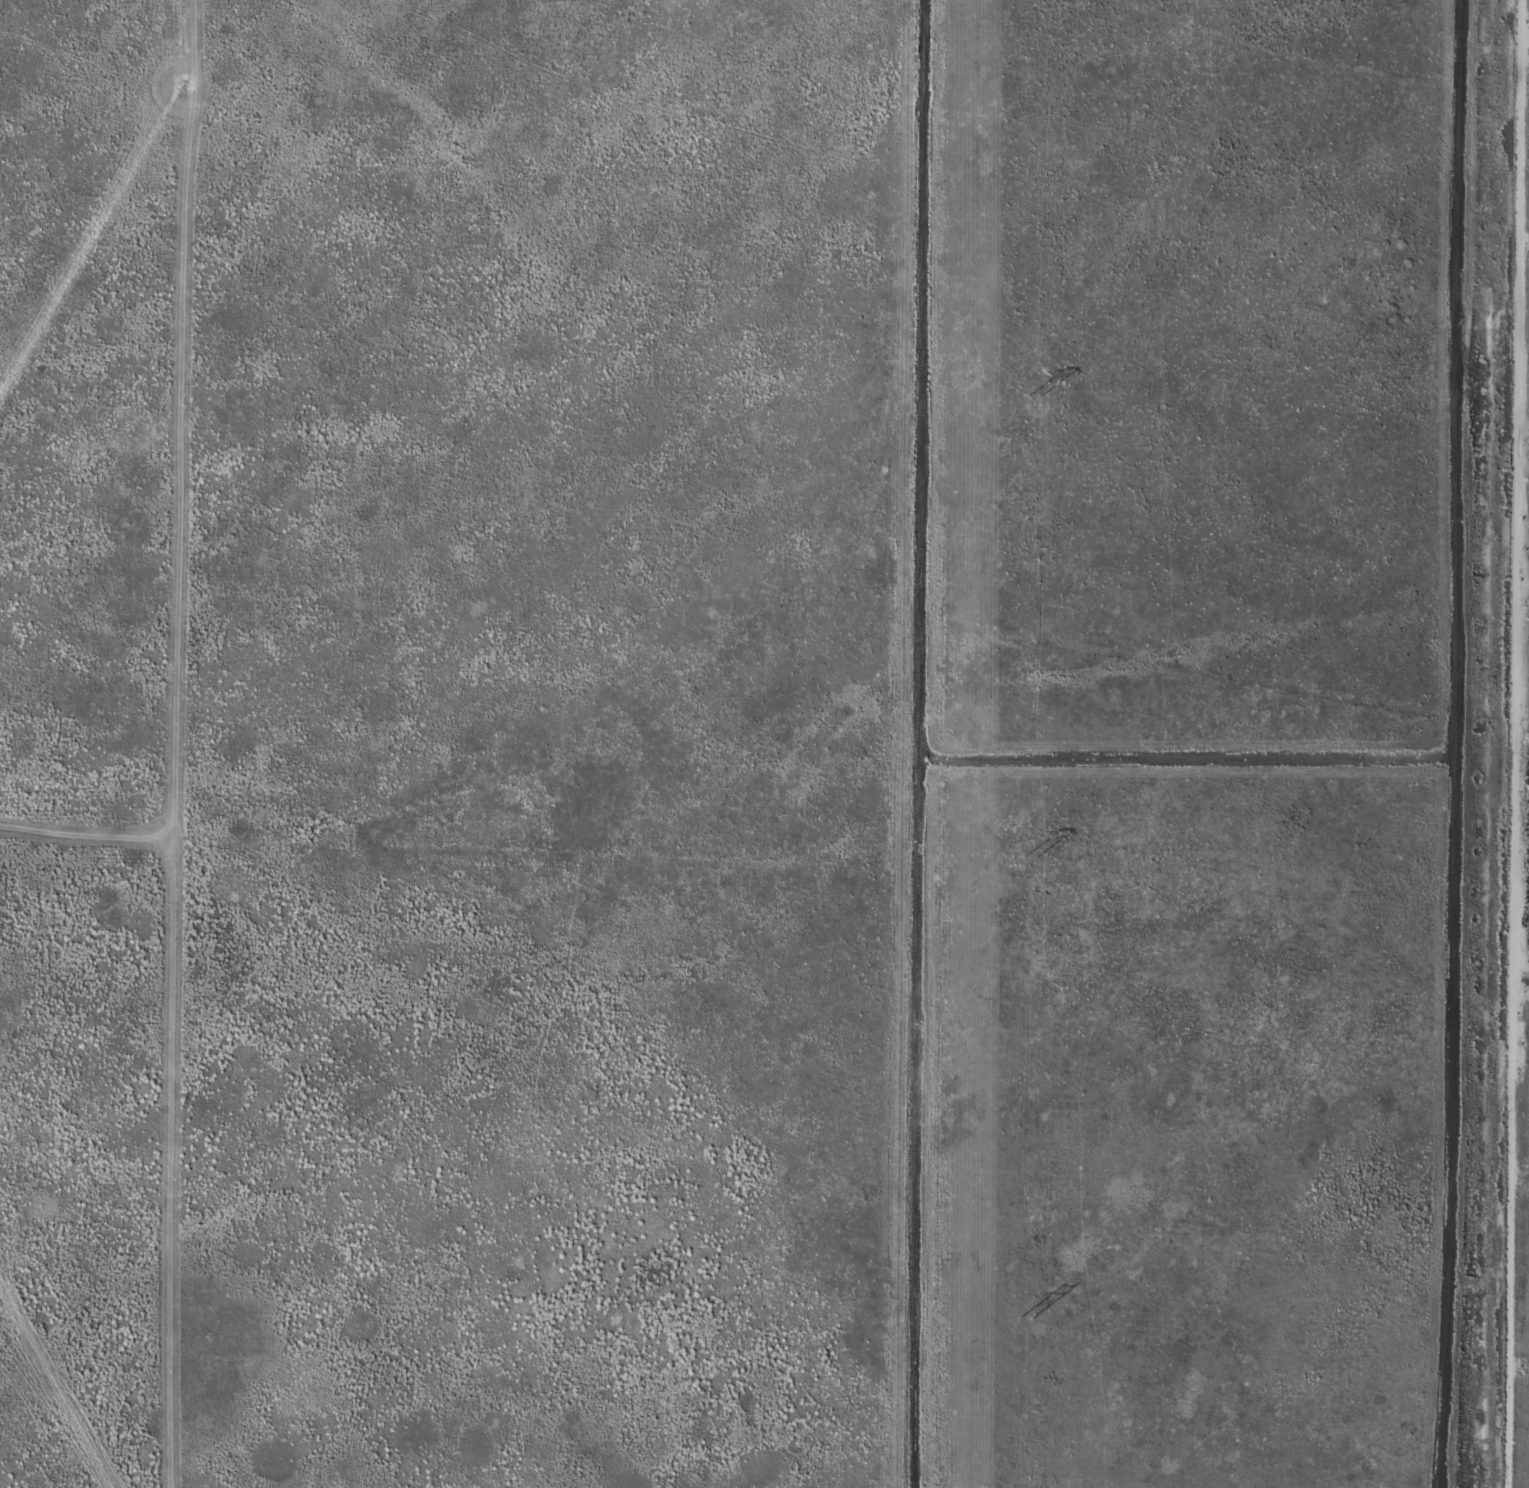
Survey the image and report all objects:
power tower: (1031, 393)
road: (1512, 744)
power plant: (1516, 807)
power tower: (1028, 856)
power tower: (1024, 1318)

